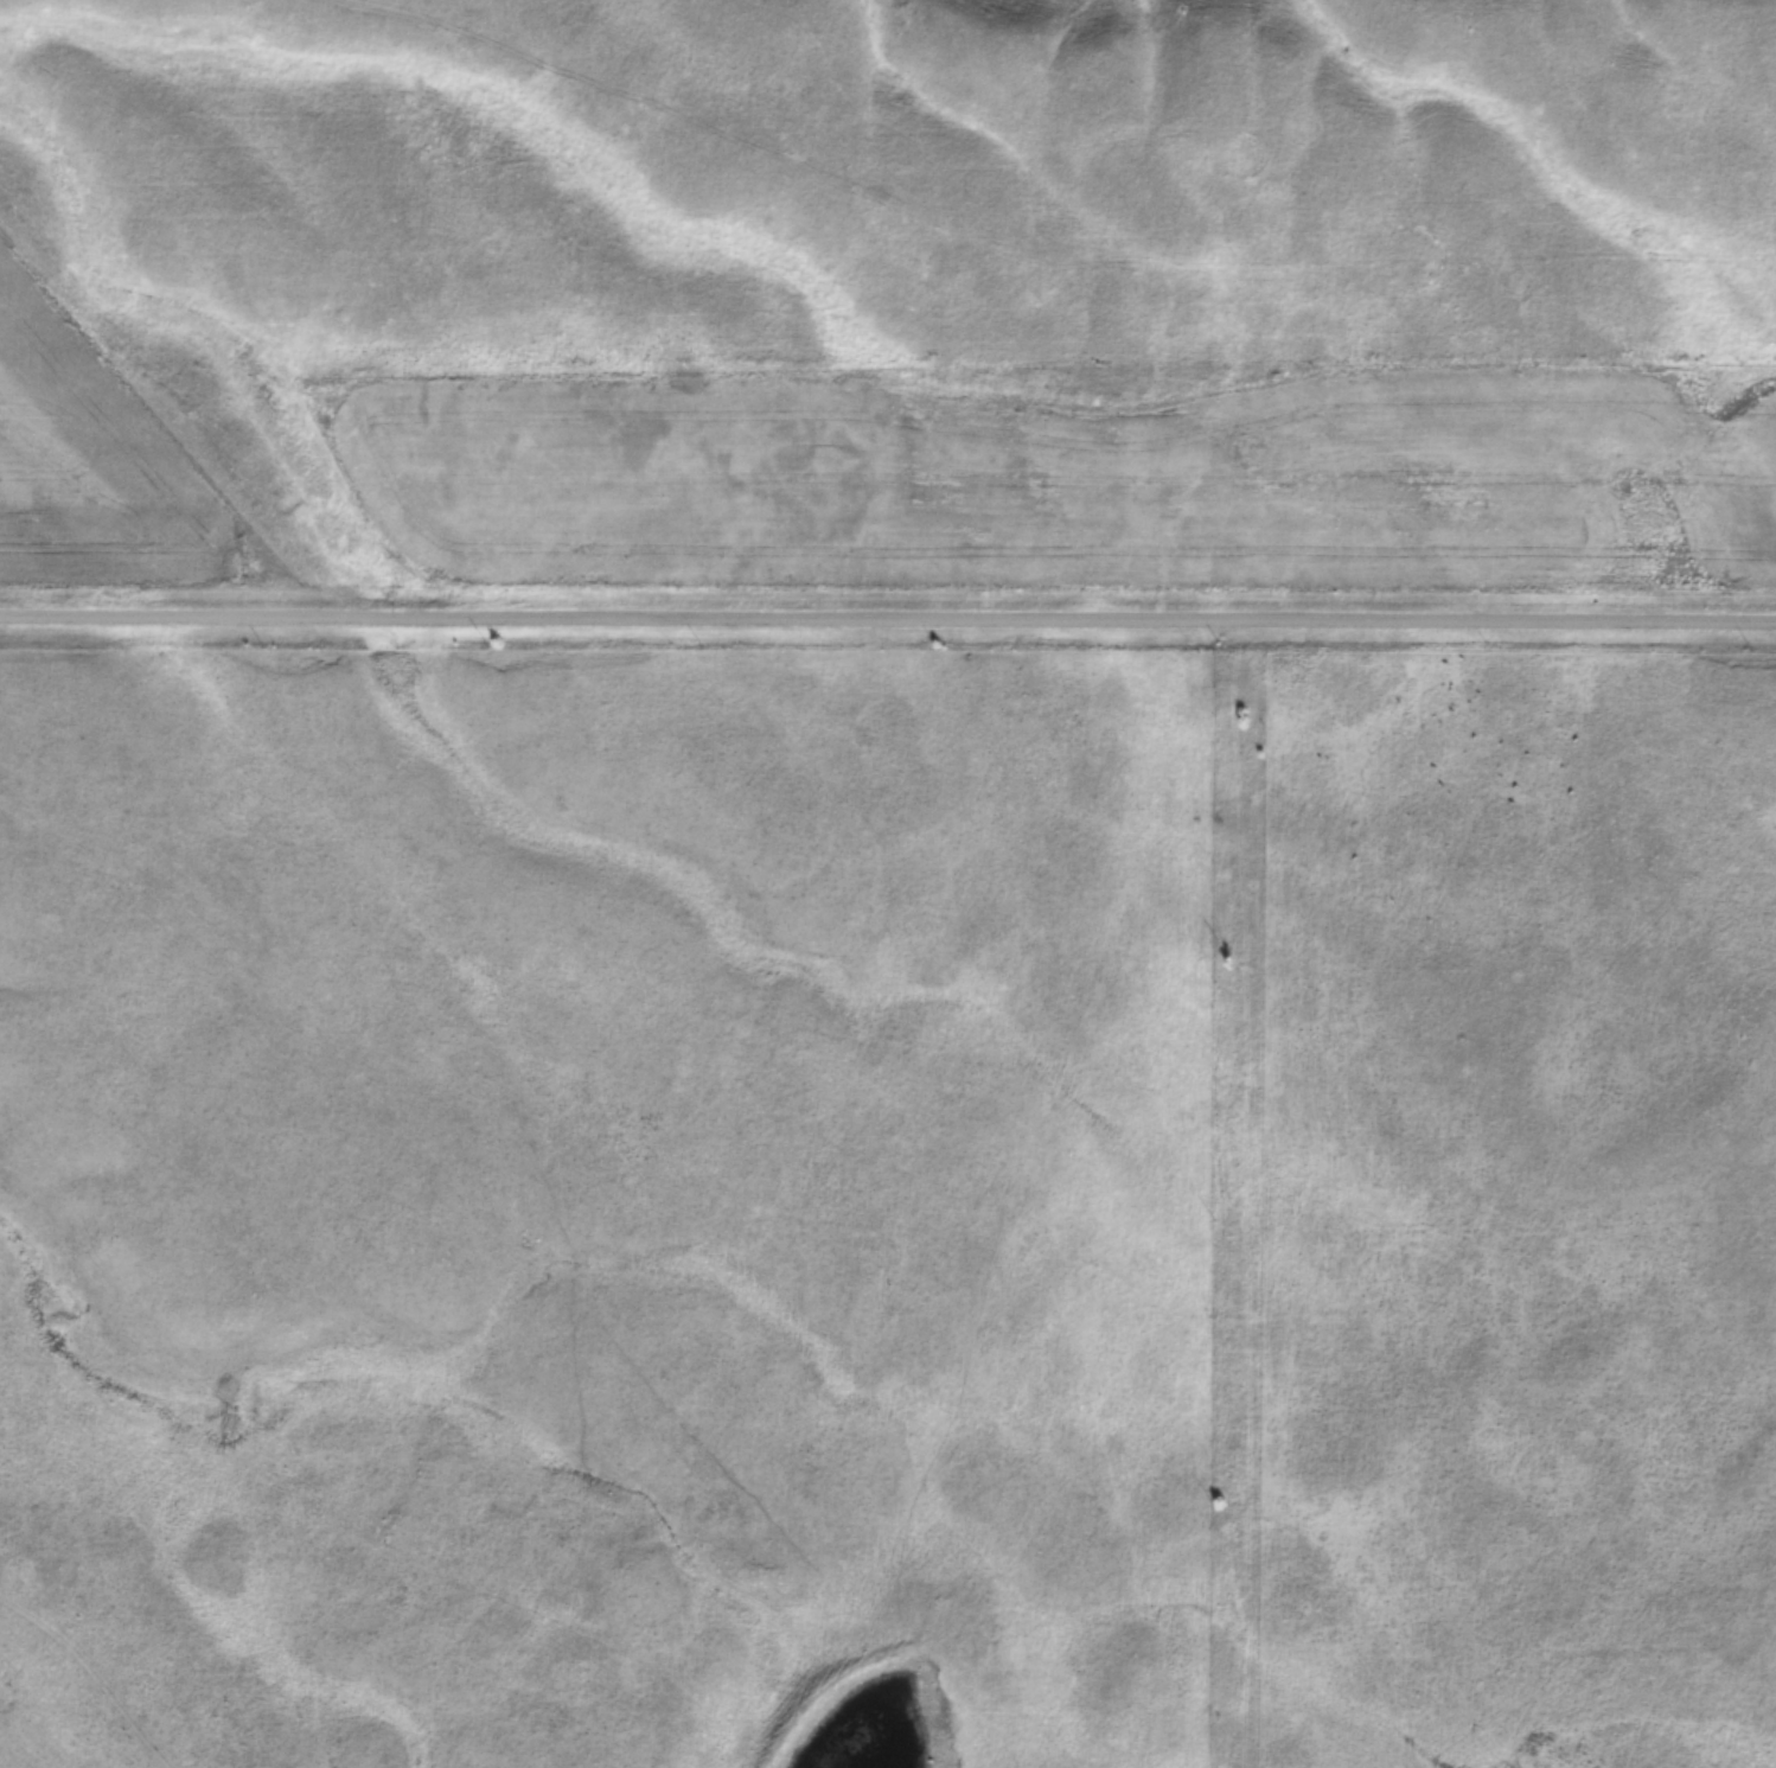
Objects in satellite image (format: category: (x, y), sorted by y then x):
road: (887, 621)

